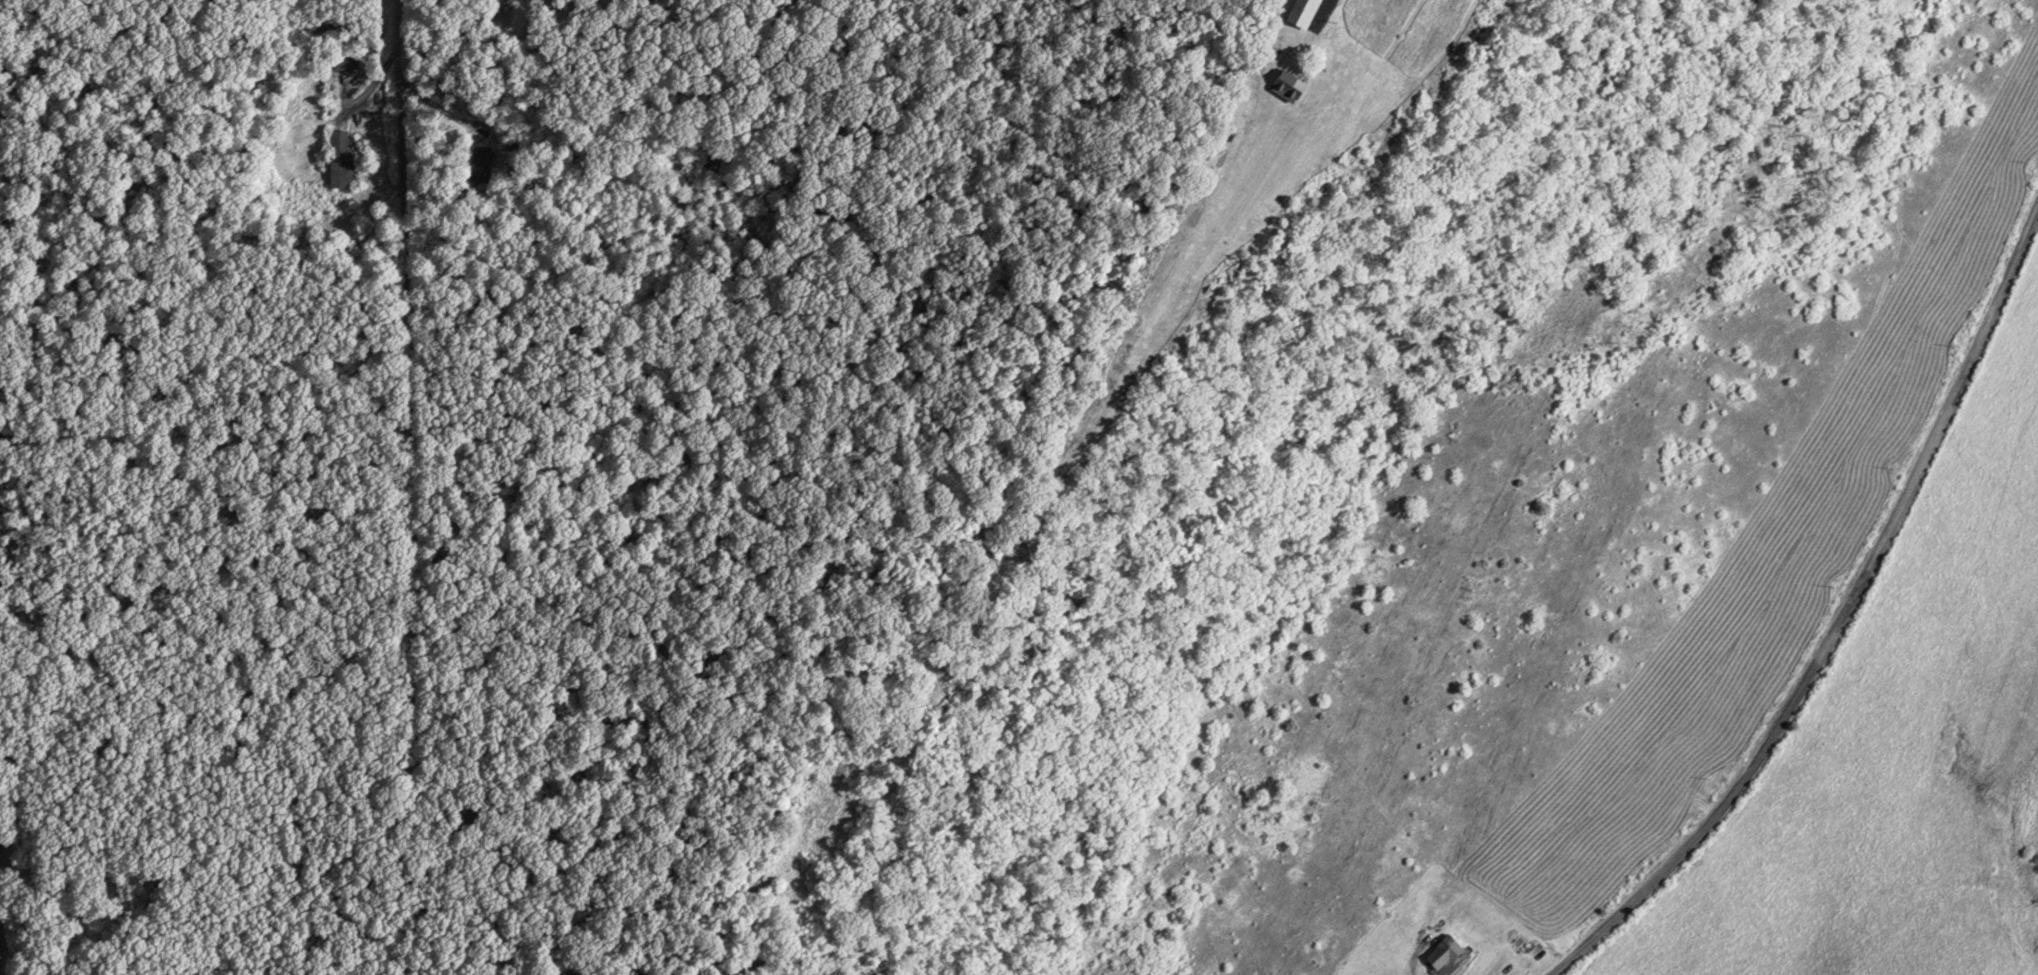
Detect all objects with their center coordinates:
building: (343, 62)
building: (1284, 86)
road: (1184, 134)
road: (447, 429)
road: (1840, 625)
building: (1440, 952)

